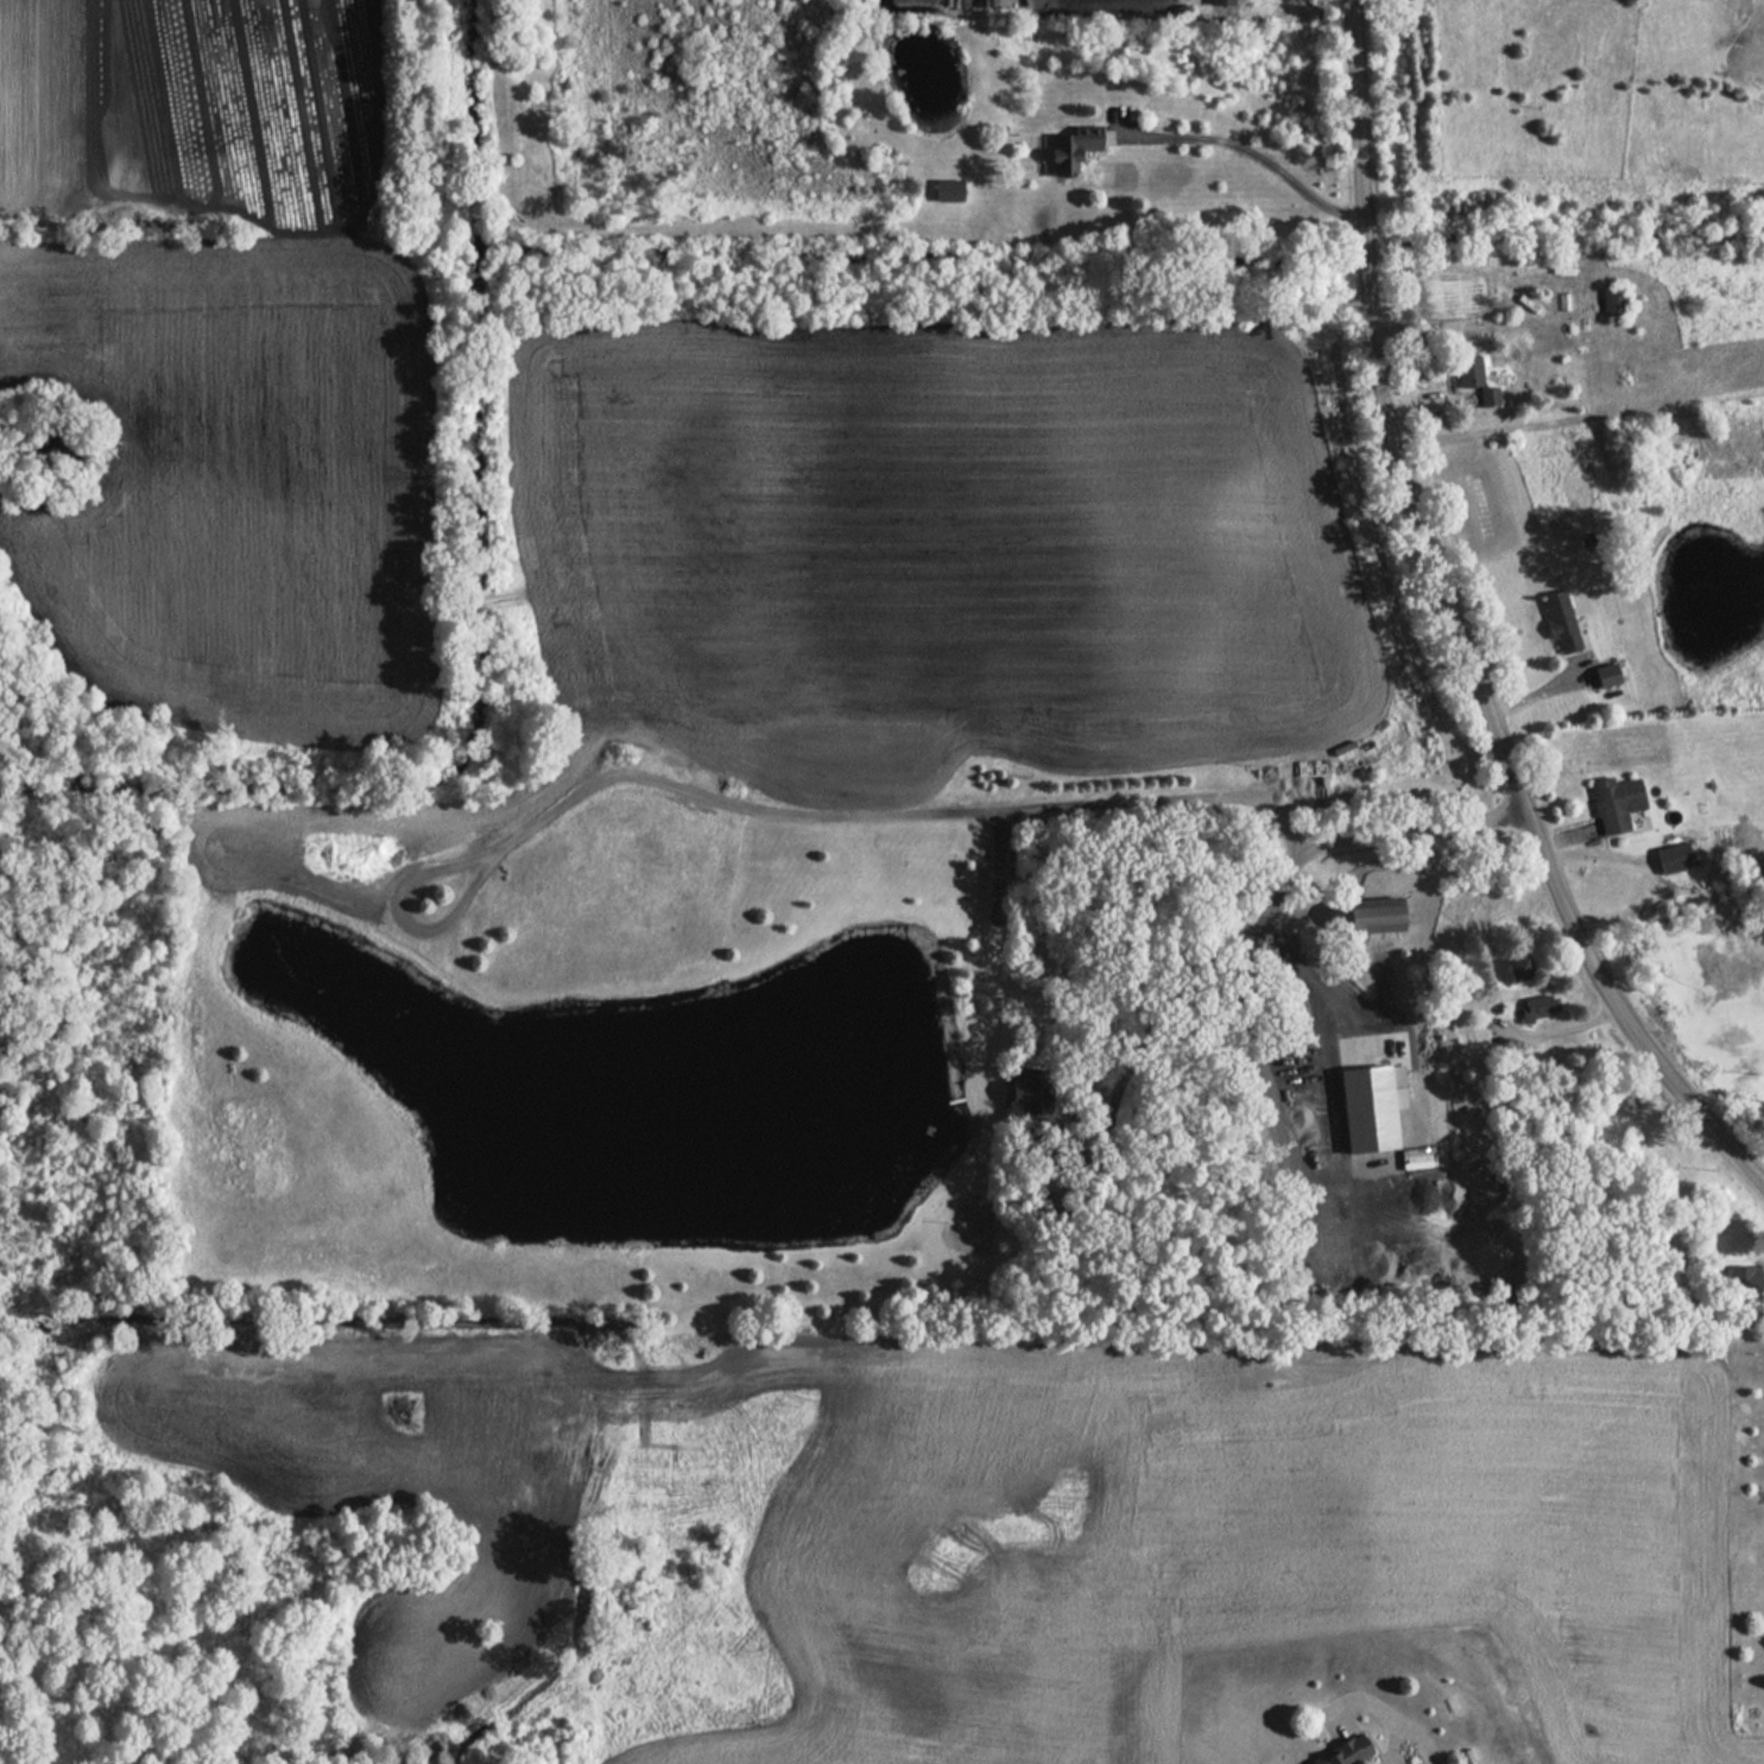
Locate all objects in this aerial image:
building: (1224, 1)
building: (997, 4)
building: (1074, 147)
road: (1250, 153)
building: (949, 189)
building: (1613, 301)
building: (1469, 372)
building: (1490, 396)
building: (1561, 620)
road: (1455, 632)
building: (1606, 675)
road: (1083, 798)
building: (1616, 803)
building: (1674, 858)
building: (1374, 915)
road: (1265, 932)
building: (1519, 968)
building: (1539, 1006)
building: (1031, 1093)
building: (1373, 1106)
building: (1743, 1278)
road: (1384, 1702)
building: (1346, 1752)

